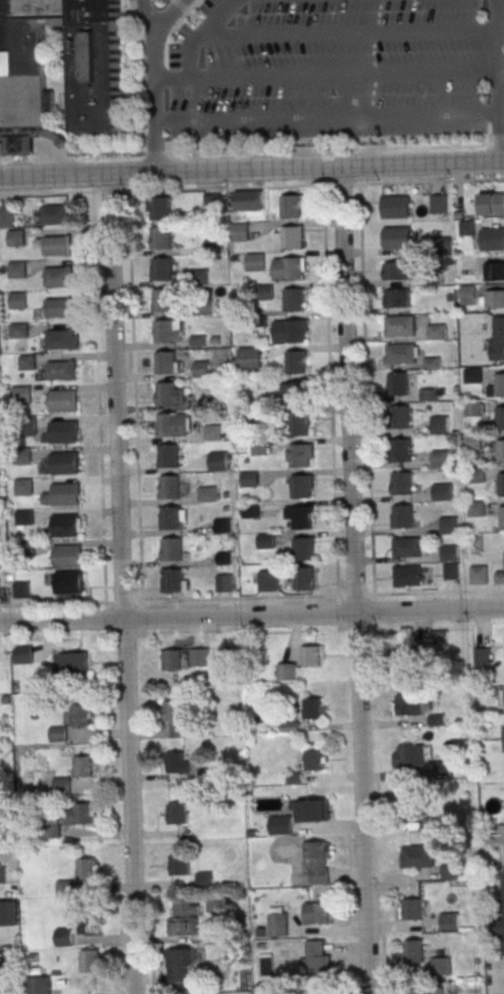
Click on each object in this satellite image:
building: (137, 1)
road: (148, 17)
road: (351, 29)
road: (192, 46)
road: (344, 73)
building: (97, 77)
road: (154, 80)
road: (499, 80)
road: (327, 117)
road: (18, 144)
building: (19, 144)
road: (2, 146)
road: (52, 153)
road: (252, 169)
road: (341, 183)
road: (225, 187)
road: (110, 191)
road: (46, 193)
building: (212, 202)
building: (239, 202)
building: (439, 203)
building: (492, 204)
building: (291, 206)
building: (396, 207)
building: (160, 208)
building: (55, 214)
building: (7, 218)
building: (467, 228)
building: (240, 231)
building: (161, 237)
building: (398, 237)
building: (16, 238)
building: (293, 238)
building: (493, 239)
building: (57, 245)
building: (442, 245)
building: (255, 261)
building: (468, 265)
building: (162, 268)
building: (290, 269)
building: (17, 270)
building: (397, 270)
building: (494, 271)
building: (58, 277)
building: (199, 277)
building: (266, 292)
building: (469, 295)
building: (396, 298)
building: (494, 299)
building: (18, 300)
building: (163, 300)
building: (295, 300)
building: (207, 306)
building: (58, 307)
building: (401, 326)
building: (19, 330)
building: (164, 331)
building: (297, 332)
building: (436, 332)
building: (496, 338)
building: (59, 339)
building: (198, 340)
building: (401, 353)
building: (250, 357)
building: (166, 362)
building: (28, 363)
building: (297, 363)
building: (202, 369)
building: (61, 370)
building: (473, 376)
building: (398, 384)
building: (500, 385)
building: (166, 393)
building: (297, 393)
building: (429, 394)
building: (22, 395)
building: (61, 400)
building: (474, 409)
building: (399, 417)
building: (500, 418)
building: (167, 424)
building: (440, 424)
building: (299, 425)
building: (27, 426)
building: (63, 431)
building: (212, 432)
building: (475, 441)
building: (260, 447)
building: (400, 450)
building: (501, 451)
building: (23, 455)
building: (169, 456)
building: (300, 456)
building: (441, 458)
building: (218, 461)
building: (63, 463)
building: (477, 475)
building: (249, 479)
building: (402, 484)
building: (501, 484)
building: (24, 487)
building: (170, 487)
building: (301, 487)
building: (441, 492)
building: (64, 494)
building: (206, 494)
building: (477, 508)
building: (250, 510)
building: (24, 517)
building: (403, 517)
building: (502, 517)
building: (171, 518)
building: (302, 518)
building: (448, 524)
building: (64, 525)
building: (223, 525)
building: (266, 541)
building: (406, 547)
building: (172, 549)
building: (304, 550)
building: (450, 553)
building: (67, 556)
building: (451, 571)
building: (479, 575)
building: (408, 576)
building: (499, 577)
building: (304, 578)
building: (172, 580)
road: (355, 580)
building: (268, 581)
building: (68, 583)
road: (120, 583)
building: (224, 583)
building: (22, 590)
road: (251, 597)
road: (251, 615)
building: (438, 636)
building: (23, 654)
building: (404, 654)
building: (481, 655)
building: (311, 656)
building: (199, 657)
building: (172, 660)
building: (73, 665)
building: (286, 672)
building: (501, 695)
building: (405, 705)
building: (312, 708)
building: (173, 711)
building: (80, 715)
building: (58, 734)
building: (407, 755)
building: (314, 760)
building: (175, 762)
building: (83, 766)
building: (442, 767)
building: (62, 786)
building: (409, 807)
building: (314, 811)
building: (177, 813)
building: (82, 814)
building: (281, 825)
building: (50, 831)
building: (417, 857)
building: (317, 861)
building: (179, 865)
building: (86, 870)
building: (450, 871)
building: (3, 874)
building: (203, 879)
building: (64, 887)
building: (503, 892)
building: (413, 908)
building: (317, 913)
building: (452, 921)
building: (88, 923)
building: (278, 925)
building: (184, 926)
building: (500, 927)
building: (413, 951)
building: (90, 961)
building: (318, 962)
building: (182, 966)
building: (441, 966)
road: (499, 980)
building: (39, 985)

